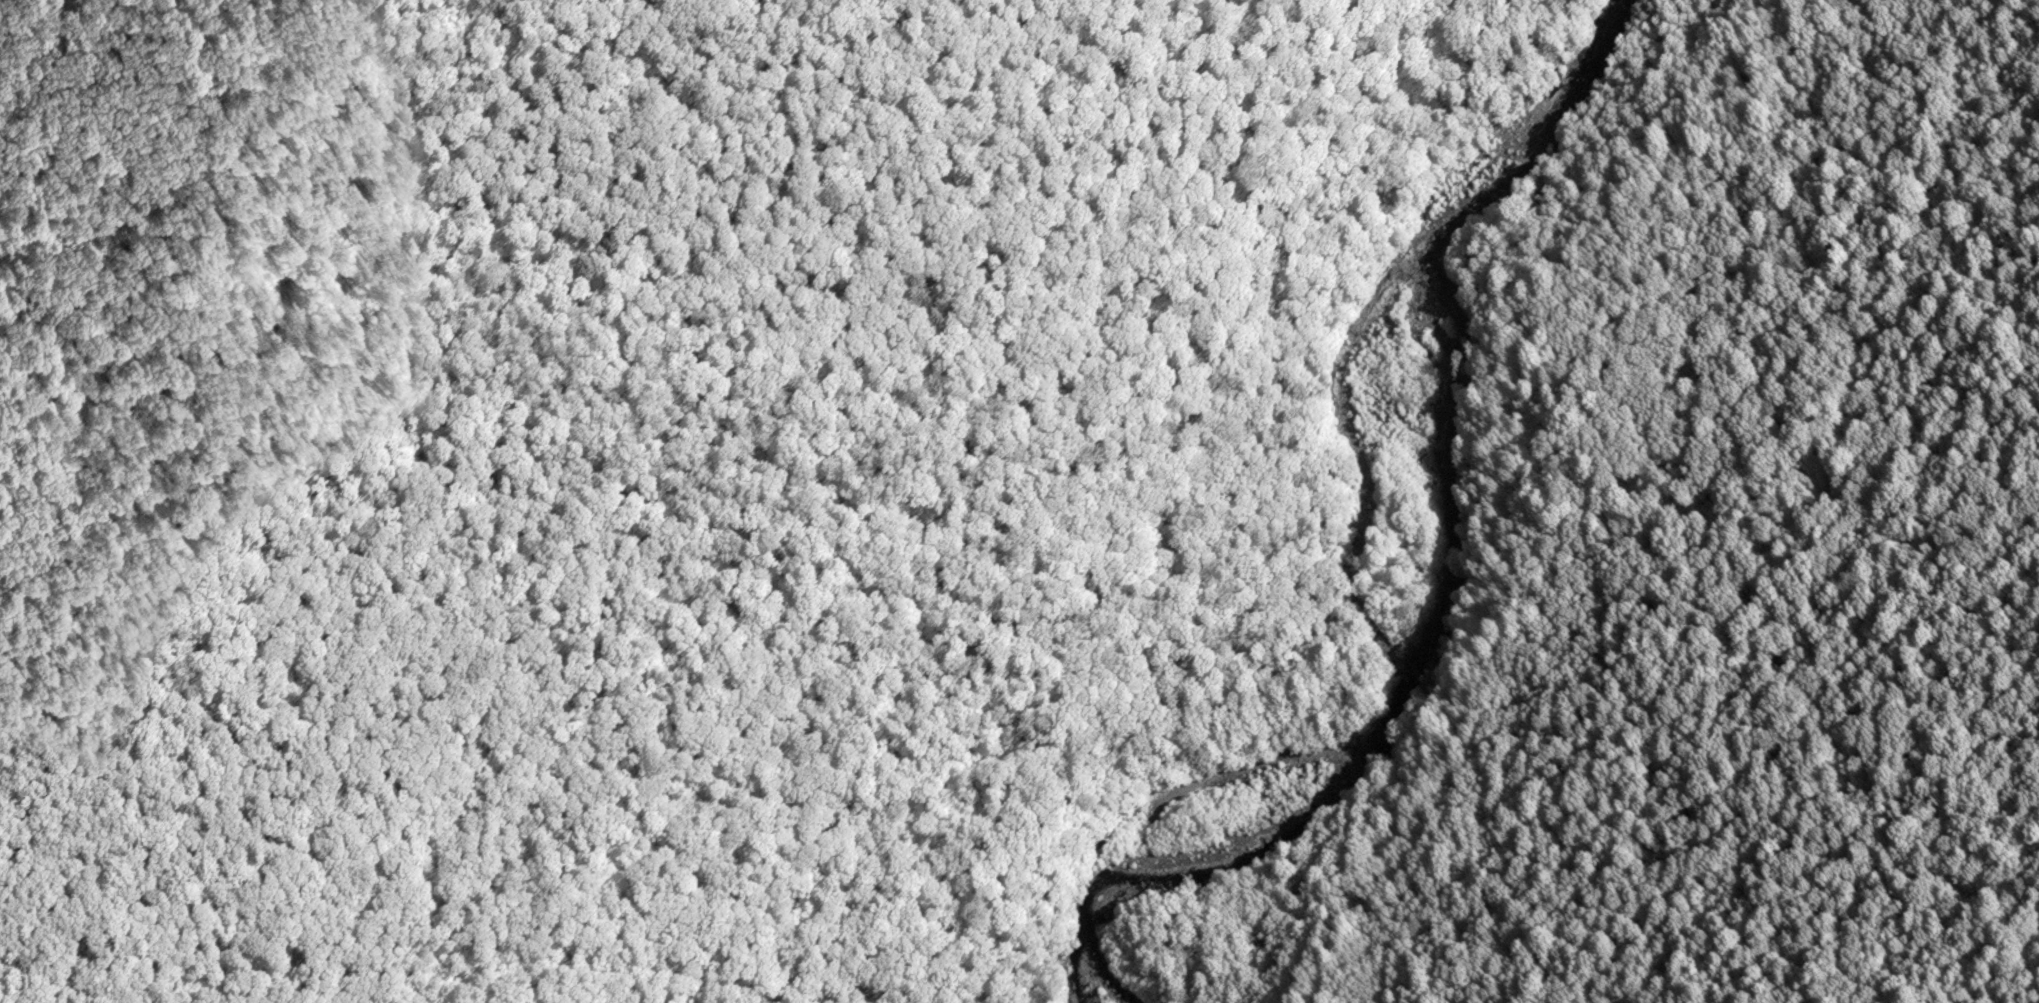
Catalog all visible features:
road: (1647, 43)
road: (1717, 198)
road: (1572, 481)
road: (549, 493)
river: (1436, 582)

